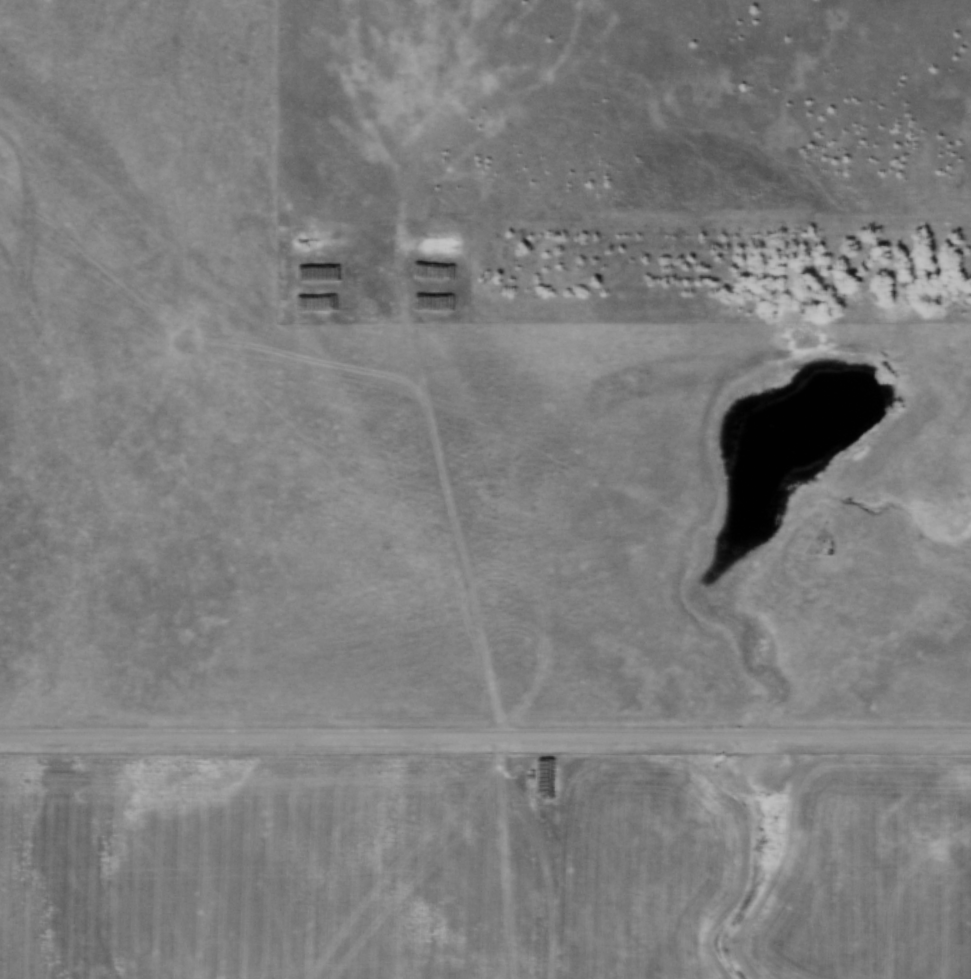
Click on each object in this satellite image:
dam: (886, 440)
road: (485, 734)

